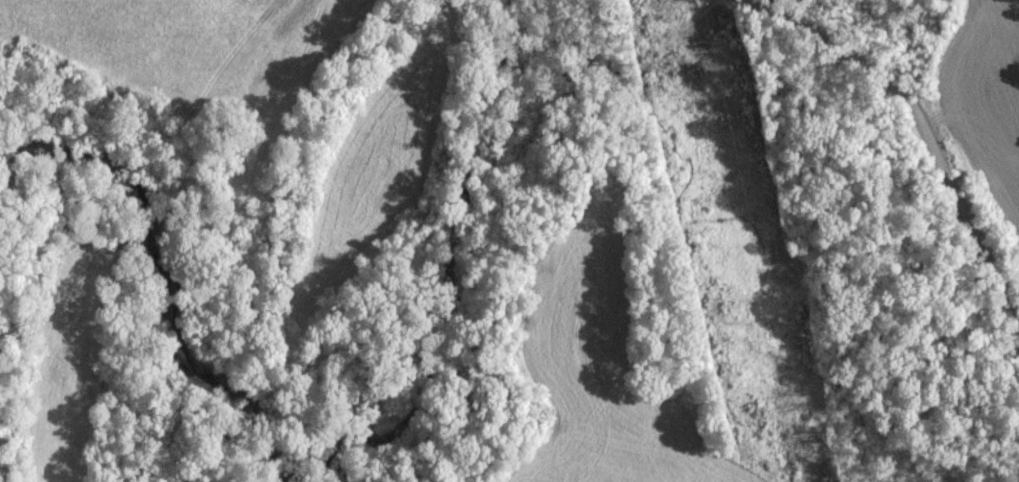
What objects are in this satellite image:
road: (918, 119)

